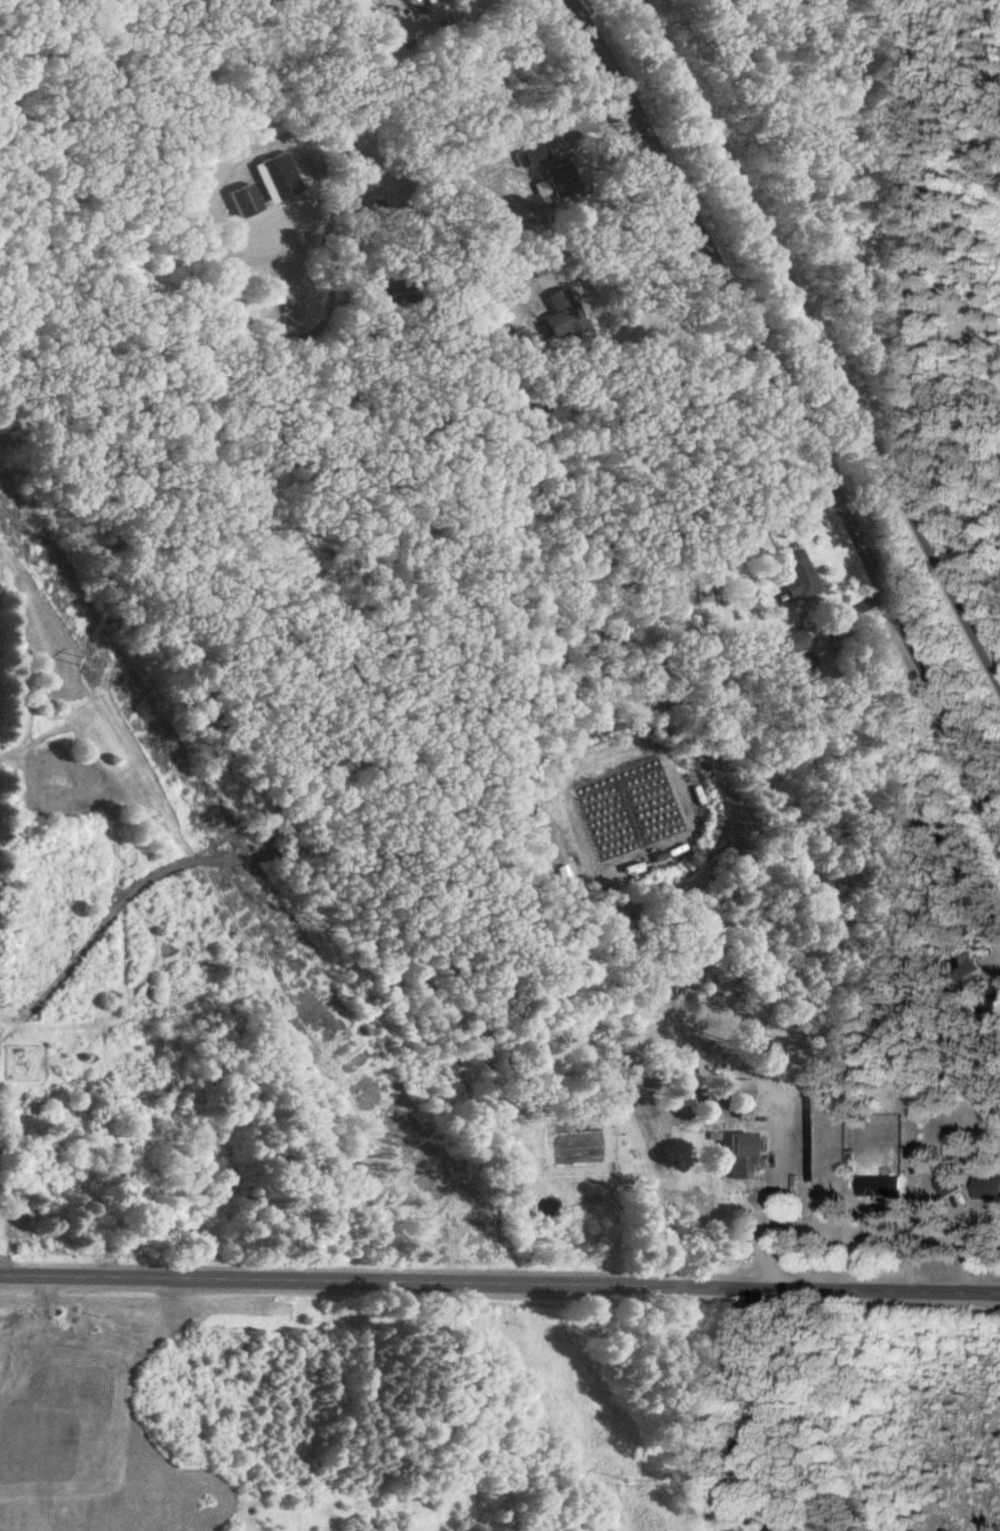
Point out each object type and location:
building: (378, 1)
building: (544, 165)
road: (450, 171)
building: (278, 180)
building: (245, 203)
road: (620, 241)
building: (268, 294)
building: (562, 316)
road: (824, 335)
road: (789, 398)
building: (799, 577)
building: (796, 644)
power tower: (92, 662)
building: (742, 1093)
power tower: (404, 1138)
building: (746, 1157)
building: (951, 1186)
building: (882, 1188)
building: (988, 1189)
road: (771, 1219)
building: (21, 1220)
road: (499, 1286)
power tower: (625, 1483)

